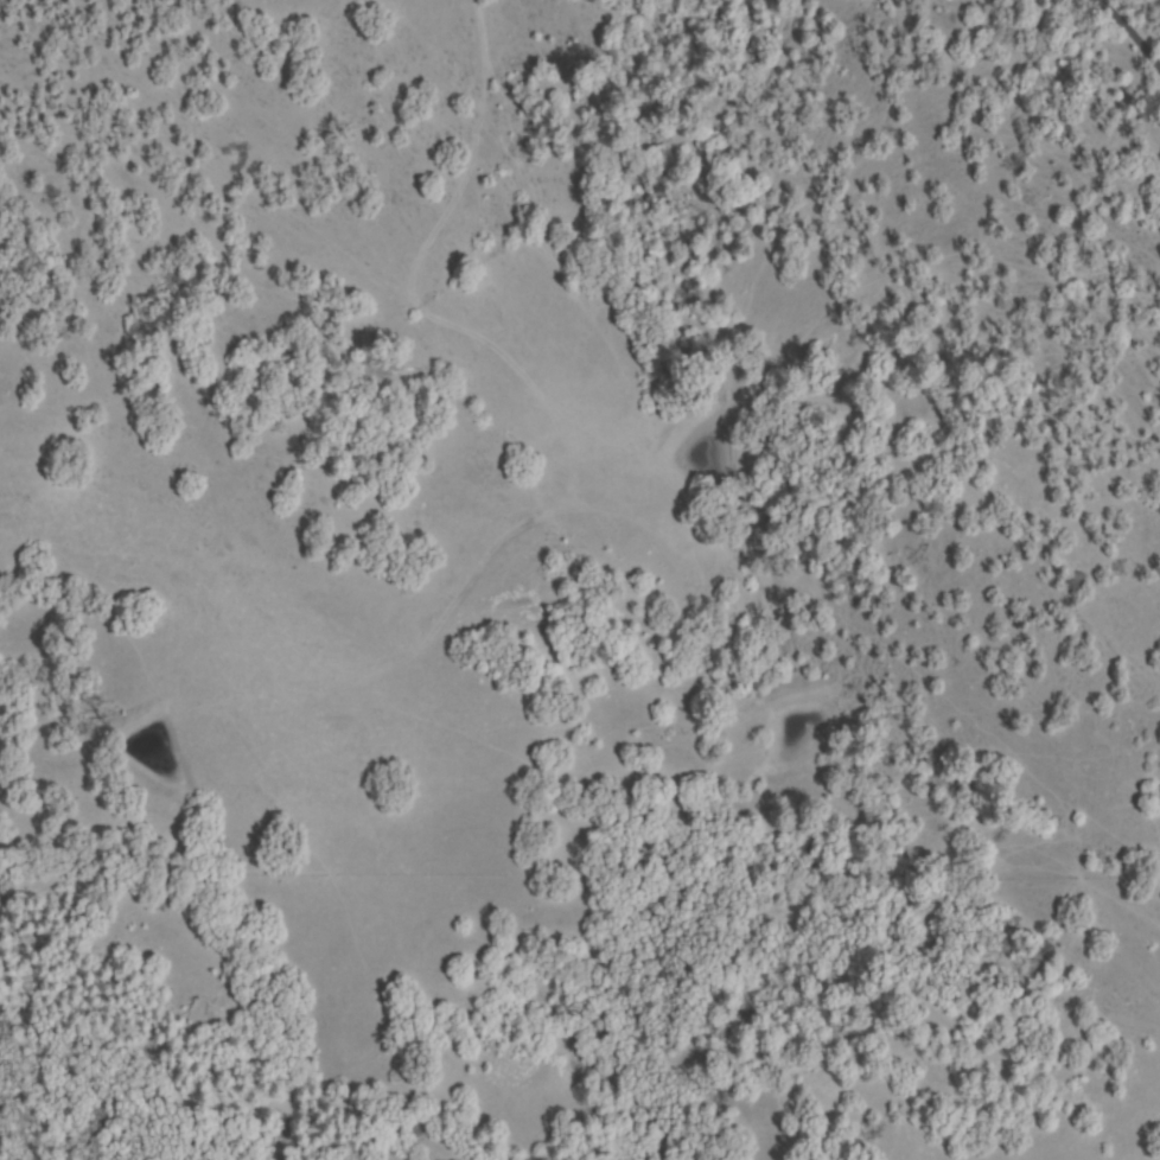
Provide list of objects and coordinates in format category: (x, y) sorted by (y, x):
road: (1129, 31)

